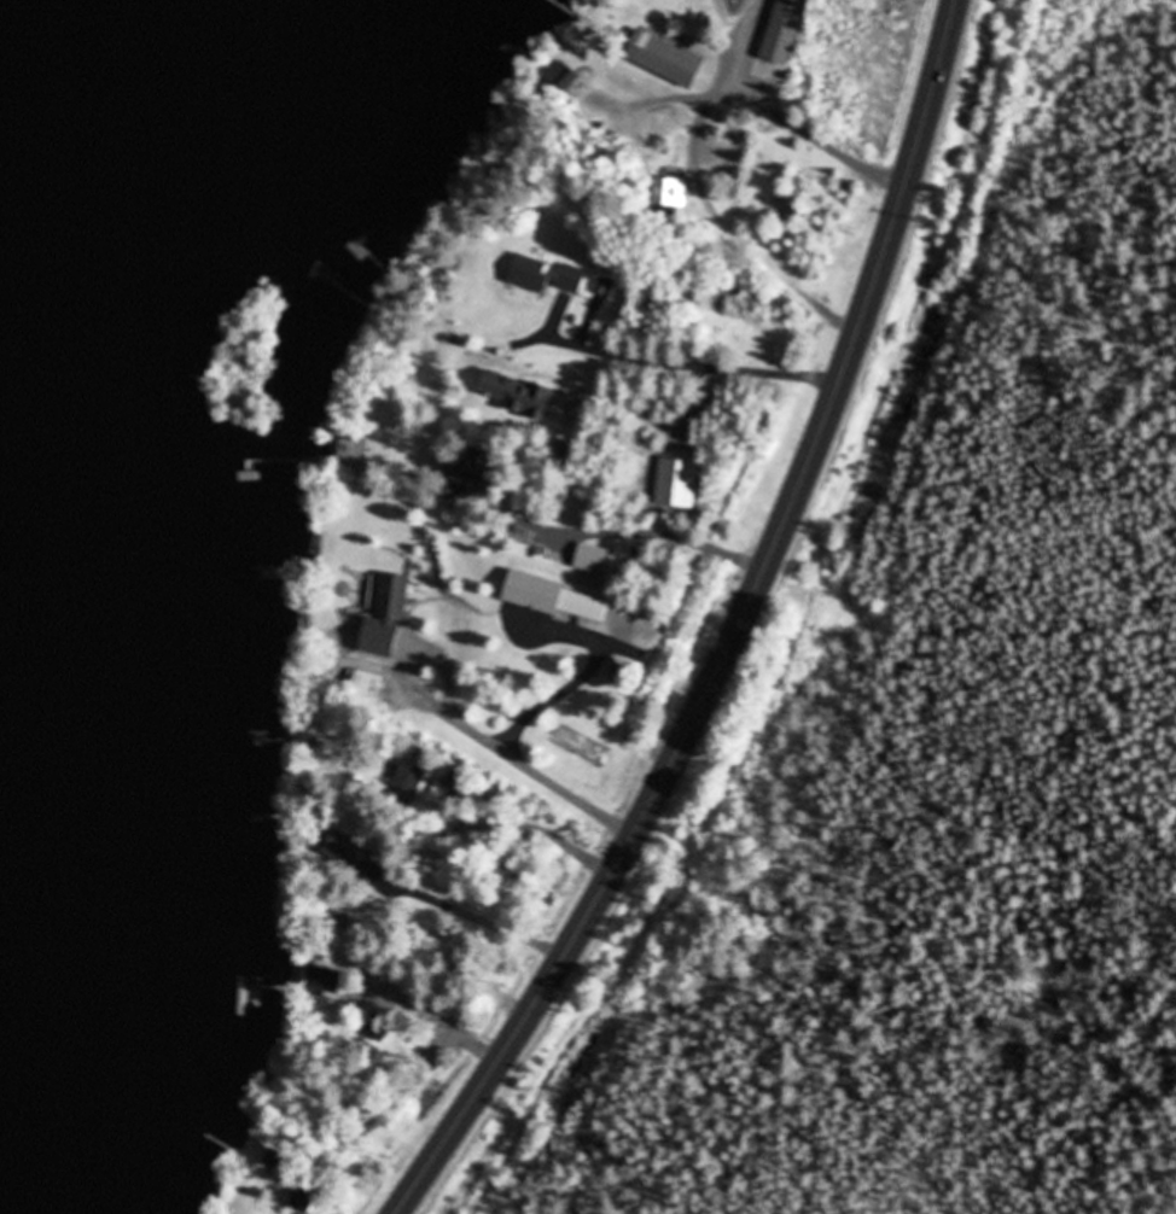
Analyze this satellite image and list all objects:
building: (786, 30)
building: (666, 59)
building: (670, 193)
building: (531, 275)
building: (574, 280)
building: (518, 393)
building: (354, 450)
building: (475, 473)
building: (593, 559)
building: (392, 596)
building: (558, 599)
road: (733, 635)
building: (367, 685)
building: (413, 776)
building: (344, 854)
building: (325, 981)
building: (378, 1028)
building: (304, 1196)

